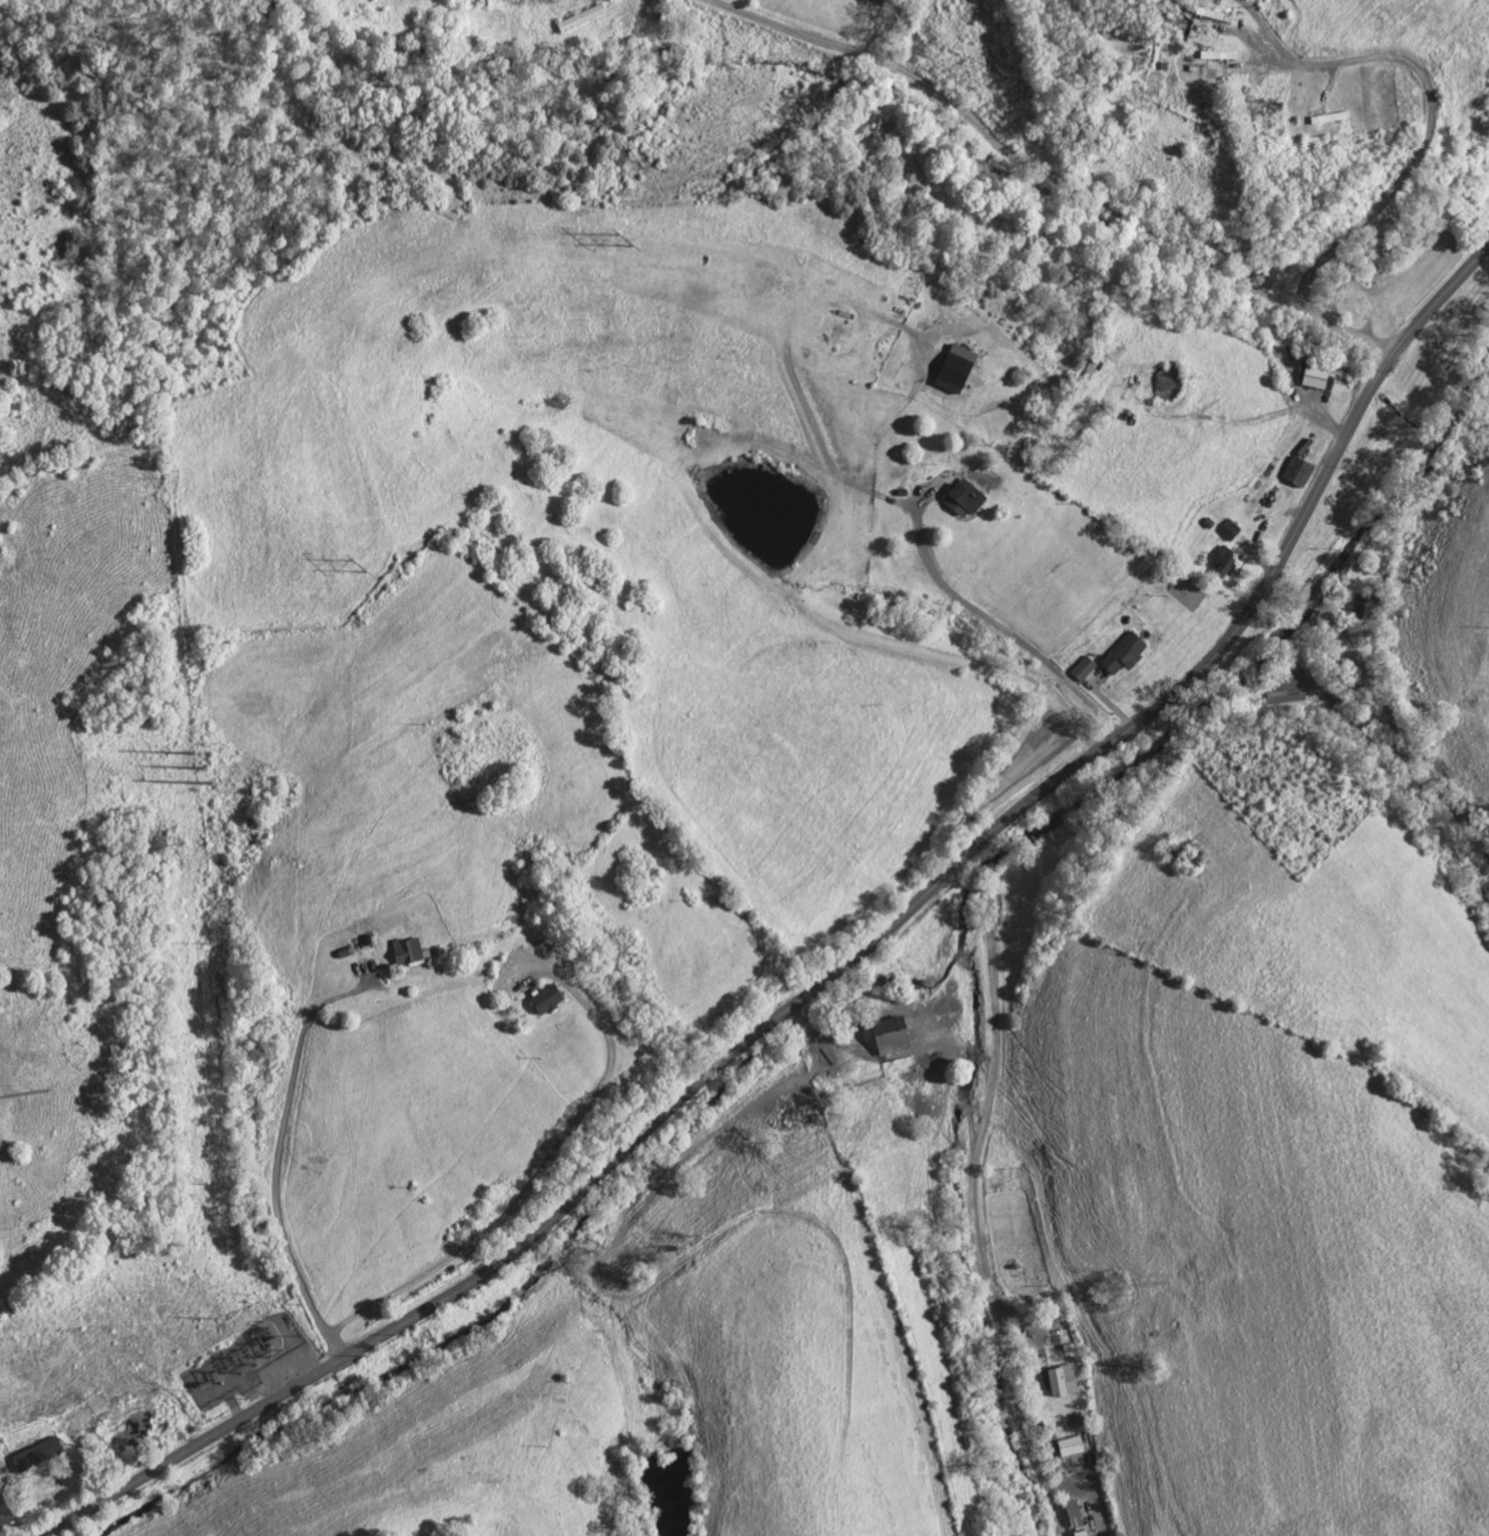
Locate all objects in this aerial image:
road: (1430, 110)
road: (1000, 153)
power tower: (631, 244)
road: (1321, 326)
road: (1365, 347)
building: (962, 370)
building: (1318, 378)
building: (1303, 472)
building: (969, 501)
building: (1233, 531)
building: (1226, 562)
power tower: (363, 568)
building: (1367, 607)
building: (1130, 654)
building: (1087, 669)
building: (1286, 702)
road: (1388, 714)
power tower: (199, 772)
power tower: (205, 948)
building: (414, 953)
road: (843, 969)
building: (553, 1001)
building: (899, 1037)
power tower: (217, 1185)
road: (531, 1188)
road: (973, 1200)
power tower: (215, 1320)
power substation: (249, 1361)
power tower: (223, 1379)
building: (1066, 1381)
building: (42, 1454)
power tower: (846, 1494)
building: (6, 1515)
building: (1076, 1515)
building: (1085, 1534)

